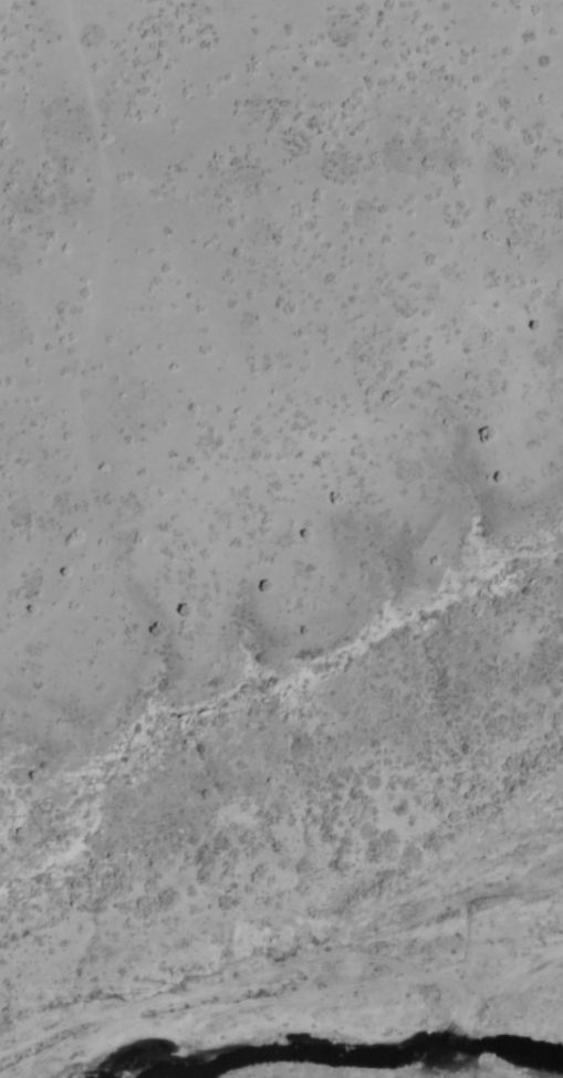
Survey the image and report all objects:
river: (484, 1053)

